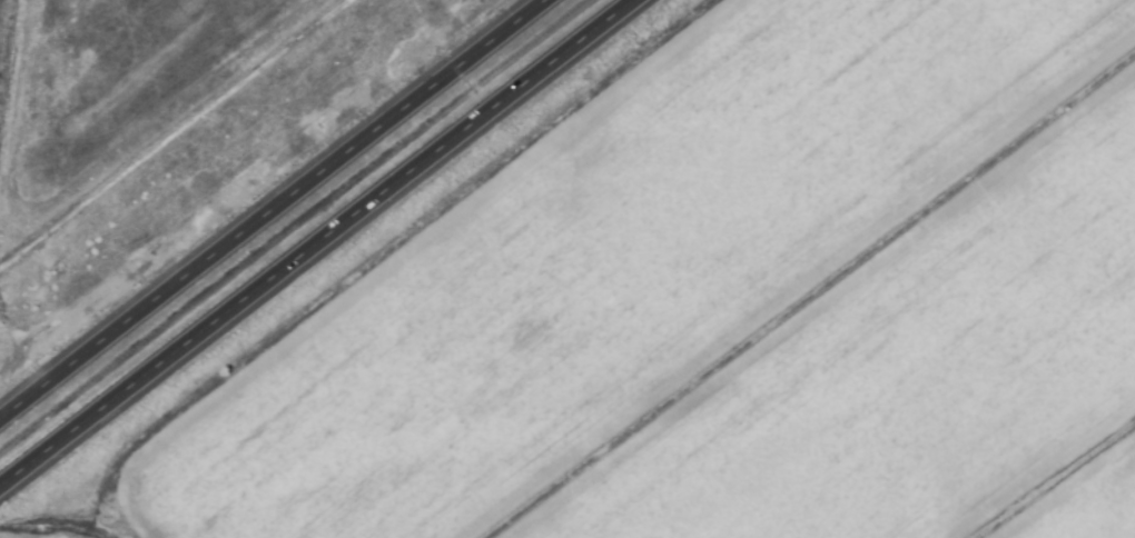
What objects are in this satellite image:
road: (273, 209)
road: (317, 242)

